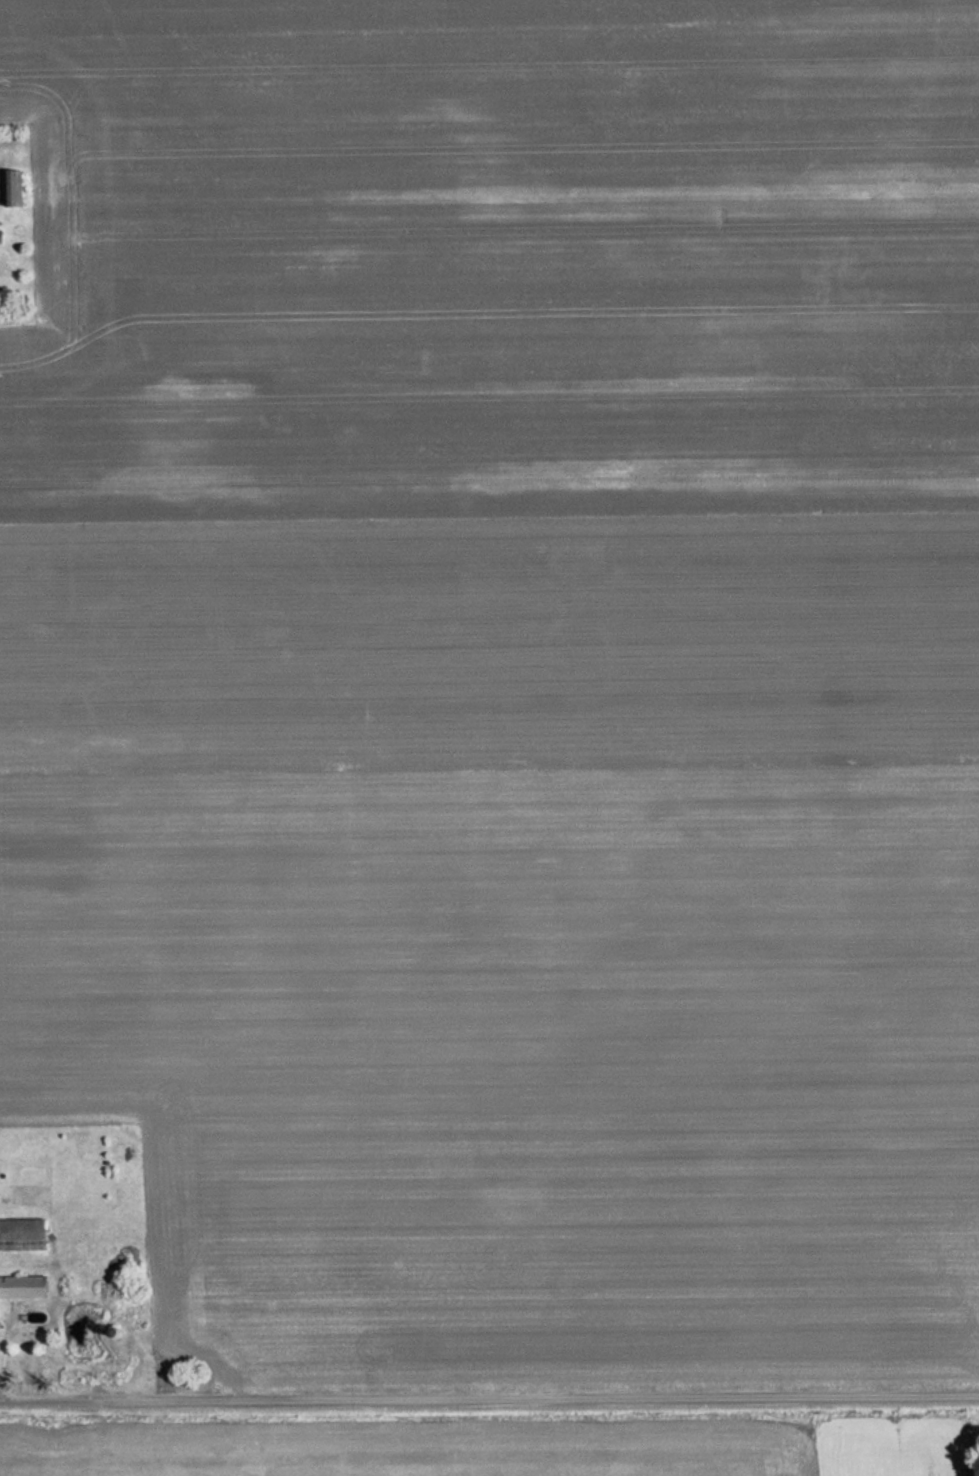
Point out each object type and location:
crop: (503, 676)
building: (23, 1234)
building: (25, 1287)
road: (489, 1396)
crop: (893, 1447)
crop: (397, 1454)

